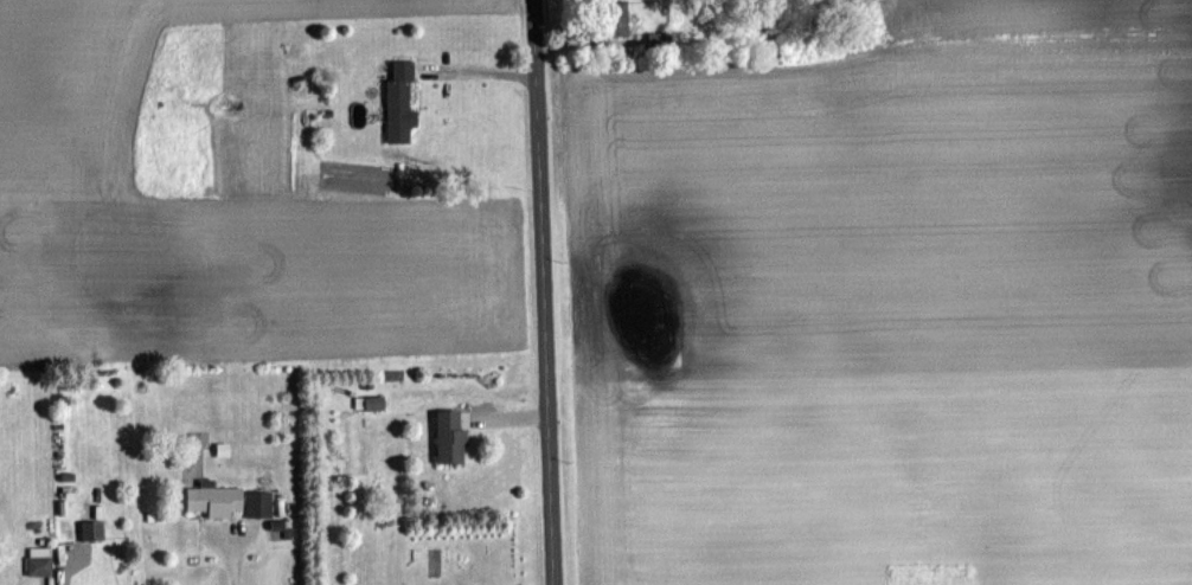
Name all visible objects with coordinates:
building: (665, 40)
building: (403, 101)
road: (543, 291)
building: (454, 435)
building: (231, 500)
building: (95, 529)
road: (233, 559)
building: (43, 561)

